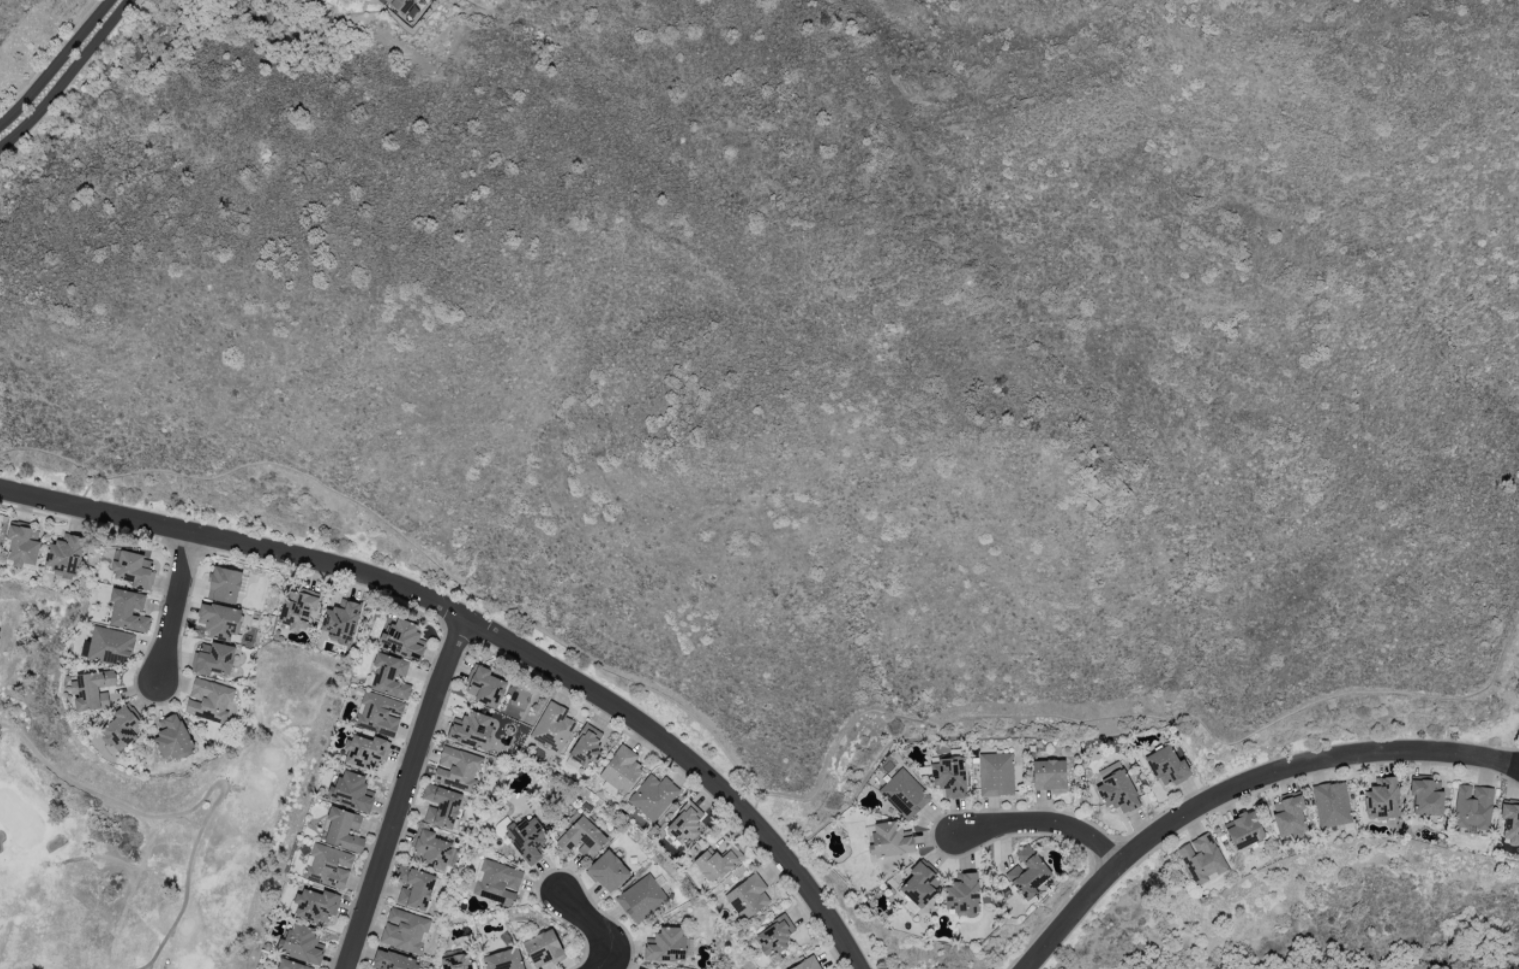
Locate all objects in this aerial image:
building: (401, 5)
road: (56, 63)
road: (65, 74)
building: (21, 546)
building: (132, 570)
building: (224, 585)
road: (175, 607)
building: (127, 610)
building: (296, 610)
building: (340, 621)
building: (221, 622)
road: (488, 629)
building: (401, 638)
building: (110, 646)
building: (213, 660)
building: (390, 676)
building: (483, 686)
building: (92, 690)
building: (208, 700)
building: (379, 714)
building: (553, 725)
building: (119, 729)
building: (471, 730)
building: (172, 739)
building: (587, 745)
building: (365, 750)
building: (1166, 766)
building: (456, 769)
building: (620, 770)
building: (995, 774)
building: (1048, 775)
building: (948, 777)
road: (1241, 786)
building: (1116, 788)
building: (350, 791)
road: (408, 793)
building: (904, 793)
building: (652, 796)
building: (1426, 796)
building: (1382, 798)
building: (441, 806)
building: (1472, 807)
park: (144, 815)
building: (1288, 816)
building: (685, 823)
road: (1042, 823)
building: (1509, 823)
building: (343, 830)
building: (1243, 830)
building: (581, 838)
building: (526, 839)
building: (887, 840)
building: (432, 850)
building: (1201, 860)
building: (716, 863)
building: (328, 866)
building: (607, 872)
building: (1027, 873)
park: (1266, 881)
building: (496, 882)
building: (920, 885)
building: (414, 888)
building: (962, 895)
building: (641, 898)
building: (314, 904)
road: (599, 924)
building: (404, 930)
building: (774, 936)
building: (302, 944)
building: (666, 945)
building: (542, 949)
building: (503, 960)
building: (391, 961)
building: (456, 962)
building: (291, 965)
building: (806, 965)

